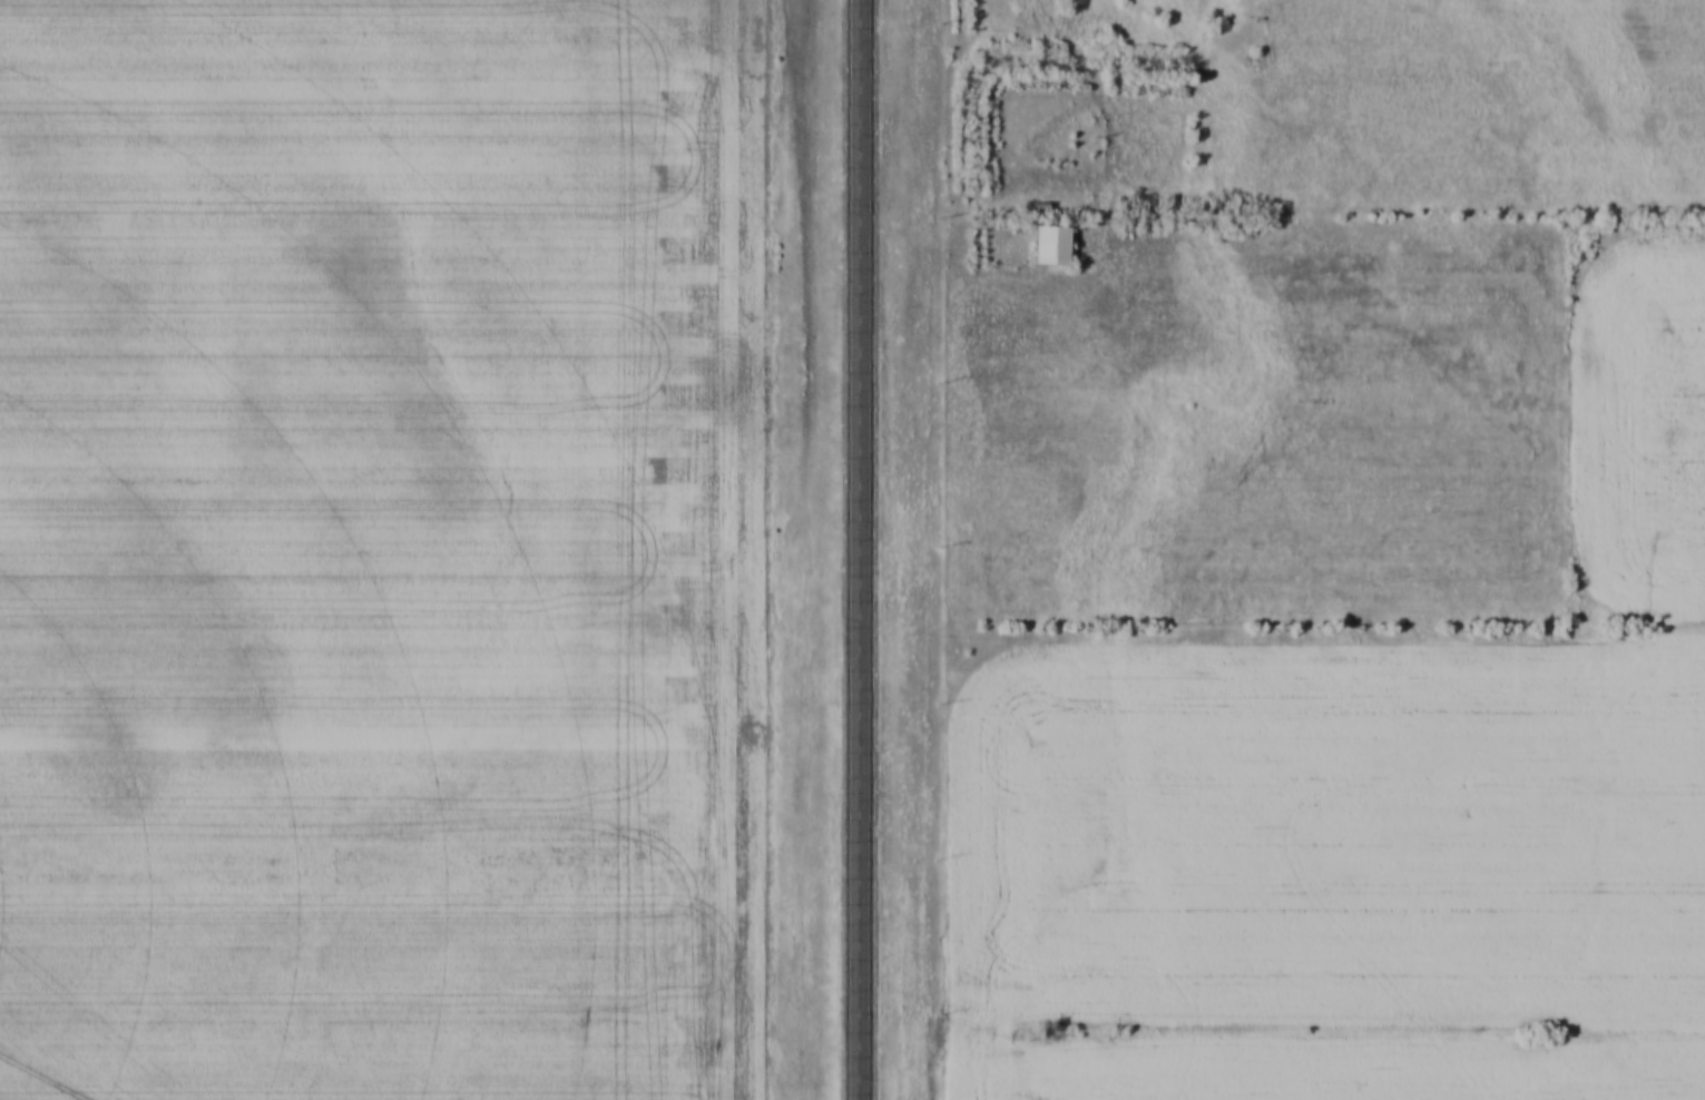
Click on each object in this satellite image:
road: (1107, 101)
building: (1043, 206)
building: (1056, 244)
road: (863, 549)

